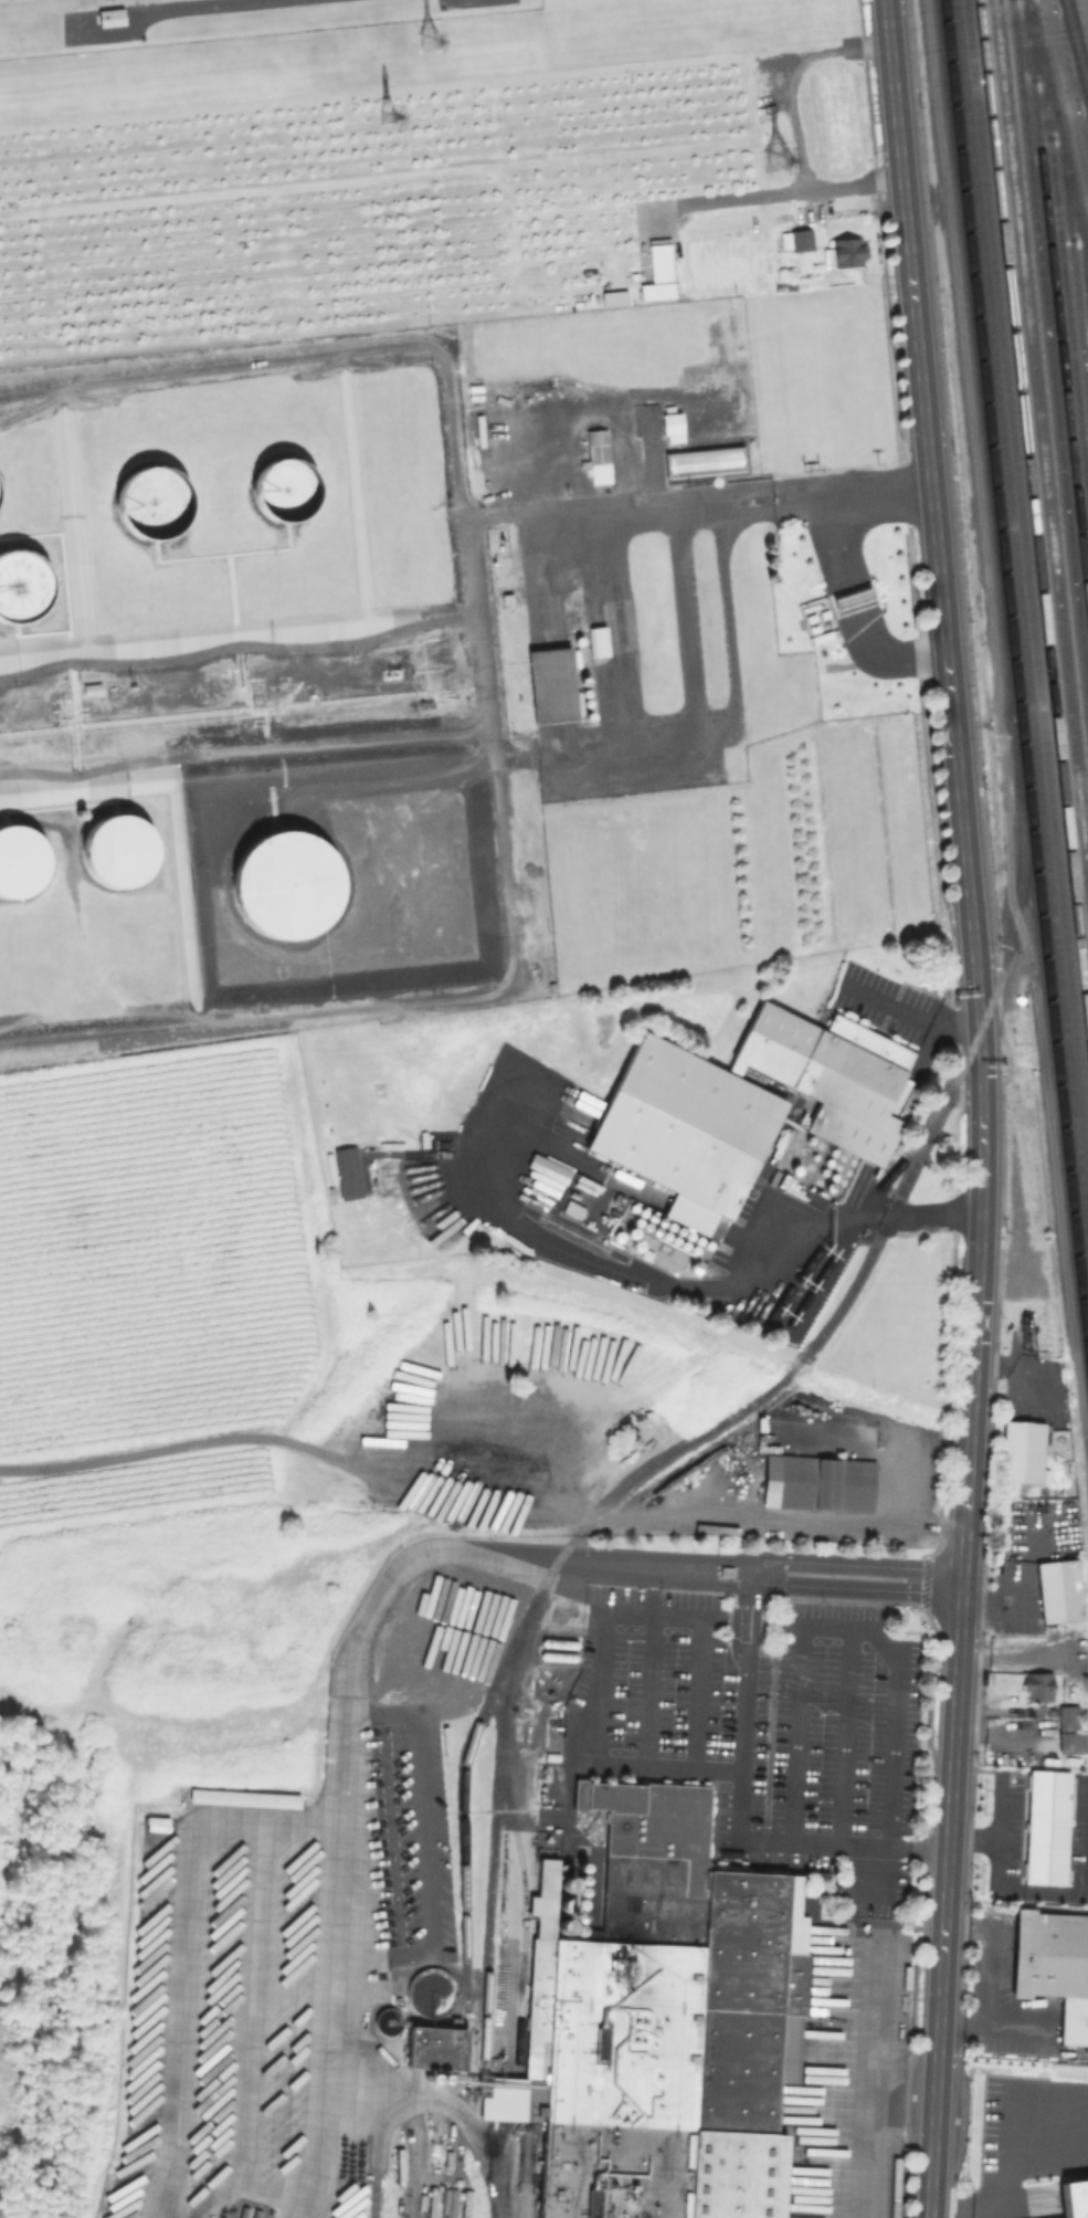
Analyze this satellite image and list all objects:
road: (249, 9)
building: (108, 17)
road: (1007, 30)
road: (990, 31)
railway: (1077, 43)
power tower: (441, 46)
road: (790, 75)
road: (1067, 92)
power tower: (401, 117)
power tower: (770, 171)
railway: (1071, 179)
road: (779, 190)
railway: (1066, 200)
building: (783, 240)
building: (800, 240)
railway: (1084, 242)
building: (844, 252)
railway: (1061, 257)
building: (657, 271)
building: (613, 297)
railway: (1055, 303)
railway: (1049, 354)
building: (672, 427)
railway: (1041, 438)
building: (596, 455)
building: (703, 461)
building: (289, 495)
road: (875, 495)
building: (160, 505)
railway: (1033, 511)
road: (833, 542)
road: (467, 564)
railway: (1027, 571)
building: (25, 589)
road: (851, 599)
building: (852, 599)
building: (816, 619)
railway: (1021, 626)
road: (728, 627)
building: (596, 641)
road: (885, 662)
building: (550, 684)
railway: (1014, 684)
road: (667, 742)
building: (126, 855)
building: (23, 868)
building: (295, 884)
road: (890, 1001)
road: (958, 1019)
road: (928, 1049)
road: (981, 1107)
building: (748, 1108)
building: (346, 1171)
railway: (868, 1205)
road: (733, 1282)
railway: (769, 1388)
building: (1020, 1451)
road: (910, 1454)
building: (825, 1484)
road: (663, 1521)
road: (854, 1566)
road: (852, 1590)
building: (1057, 1590)
road: (838, 1634)
building: (1035, 1685)
road: (596, 1691)
road: (647, 1692)
road: (698, 1695)
road: (342, 1710)
building: (1068, 1730)
road: (843, 1739)
road: (737, 1811)
railway: (495, 1825)
building: (1044, 1827)
road: (422, 1847)
railway: (524, 1882)
road: (191, 1959)
building: (1055, 1969)
building: (665, 2026)
building: (434, 2047)
road: (446, 2109)
building: (1075, 2198)
road: (959, 2211)

